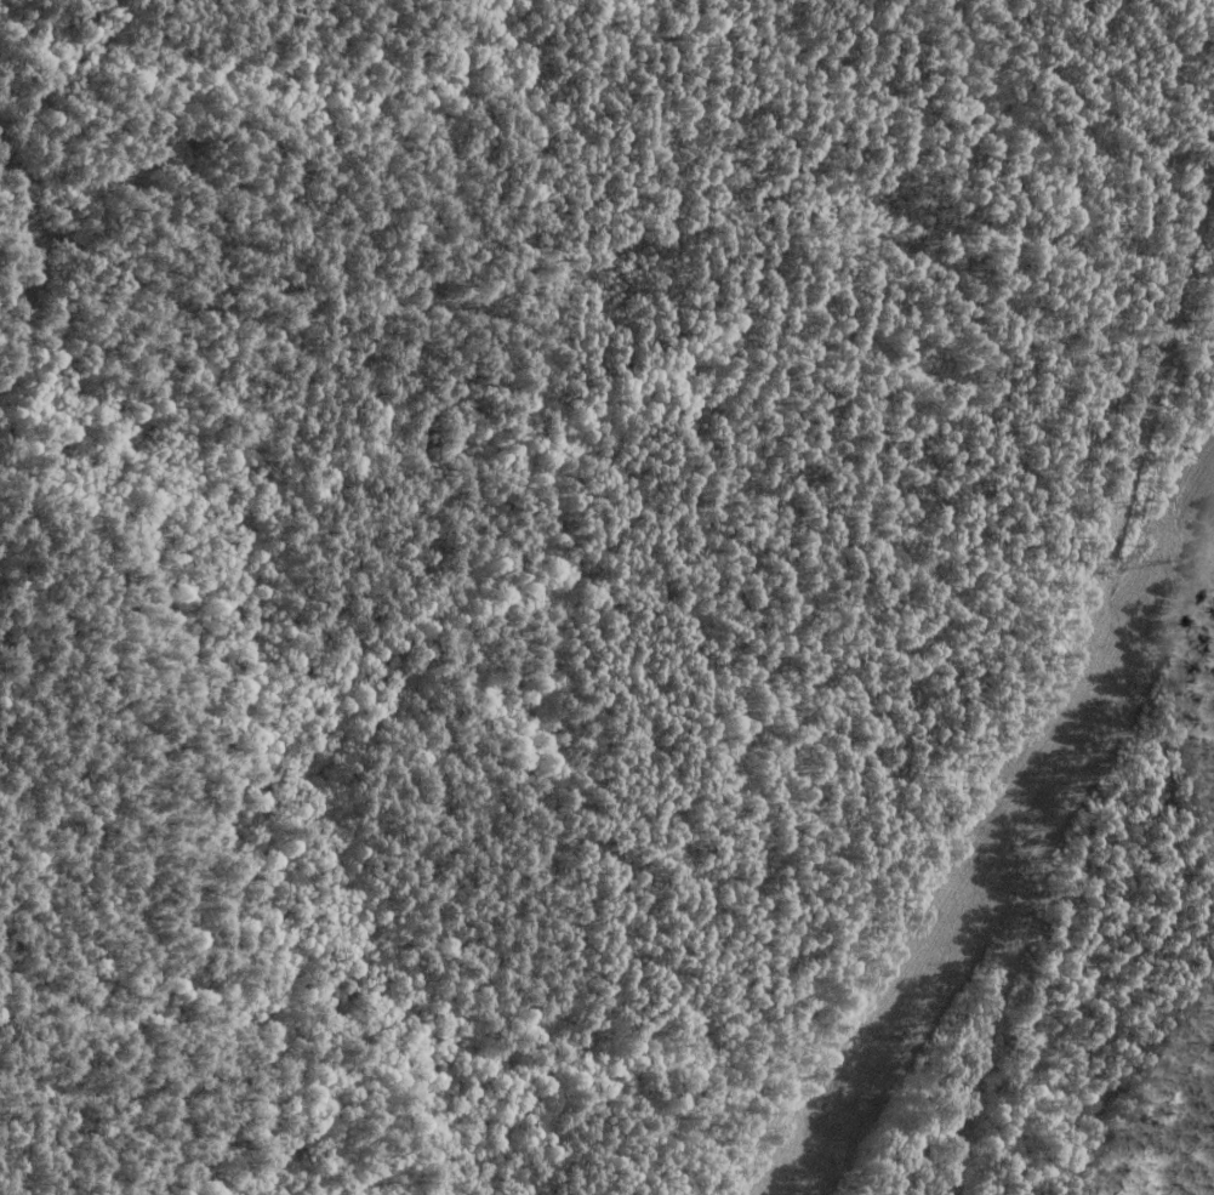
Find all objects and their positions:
power tower: (1181, 564)

